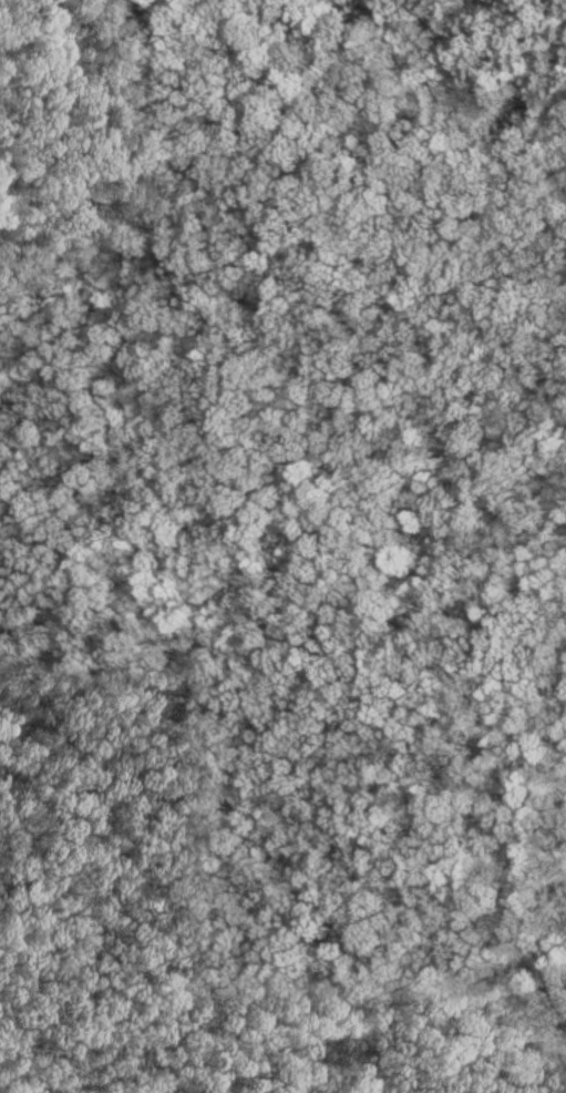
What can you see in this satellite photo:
road: (215, 432)

